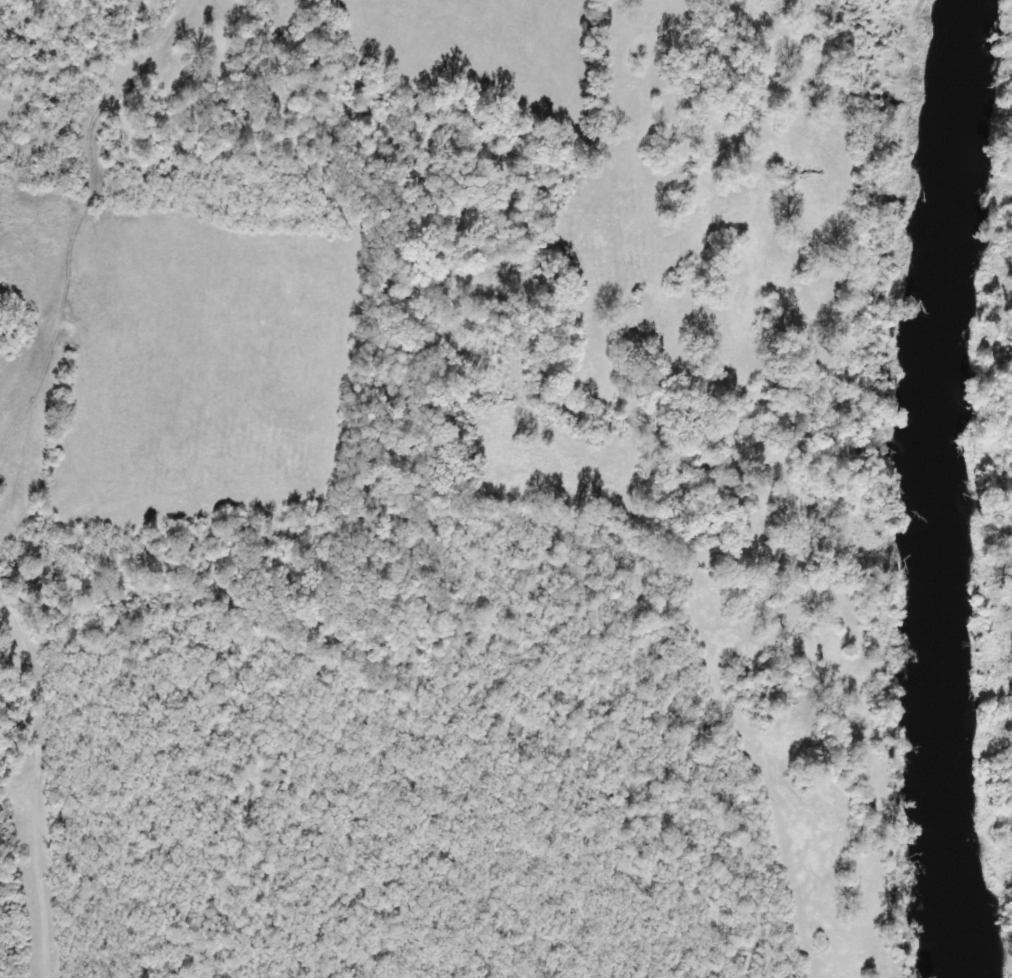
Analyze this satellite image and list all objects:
river: (948, 489)

